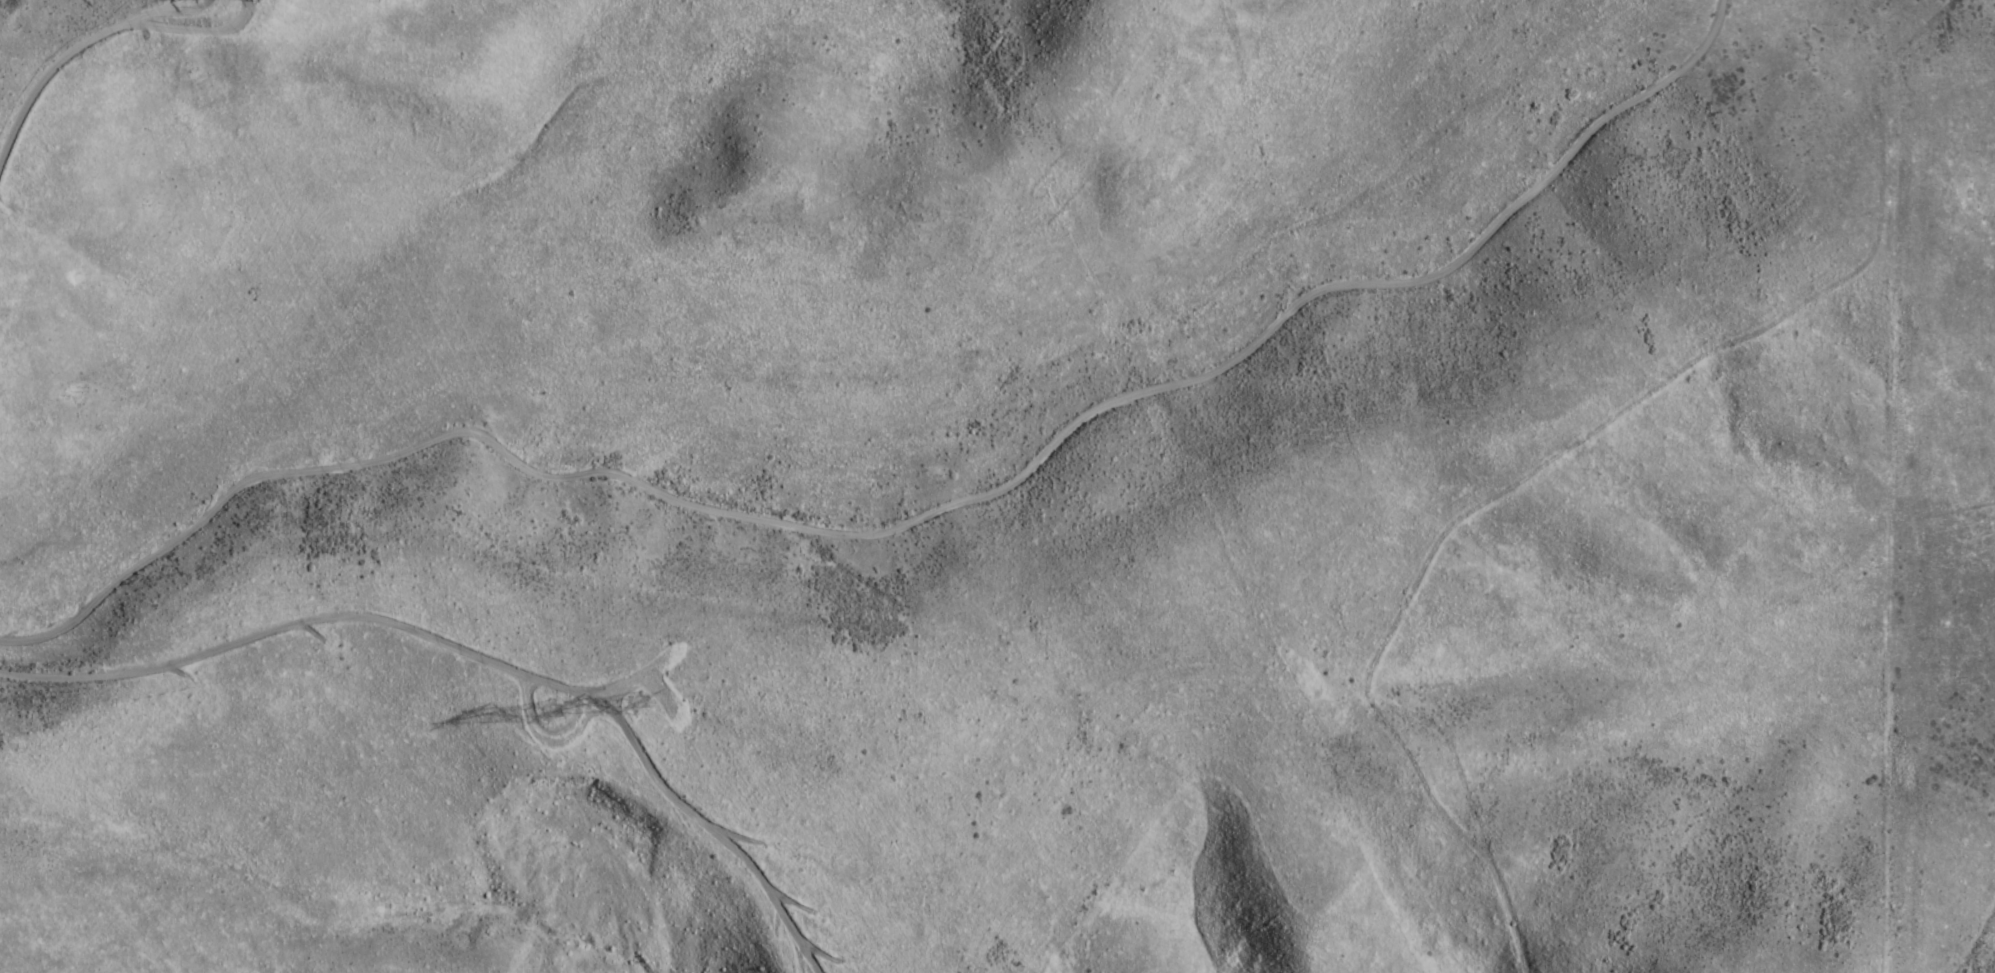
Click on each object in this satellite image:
road: (97, 31)
road: (925, 529)
road: (473, 651)
power tower: (641, 715)
power tower: (551, 719)

